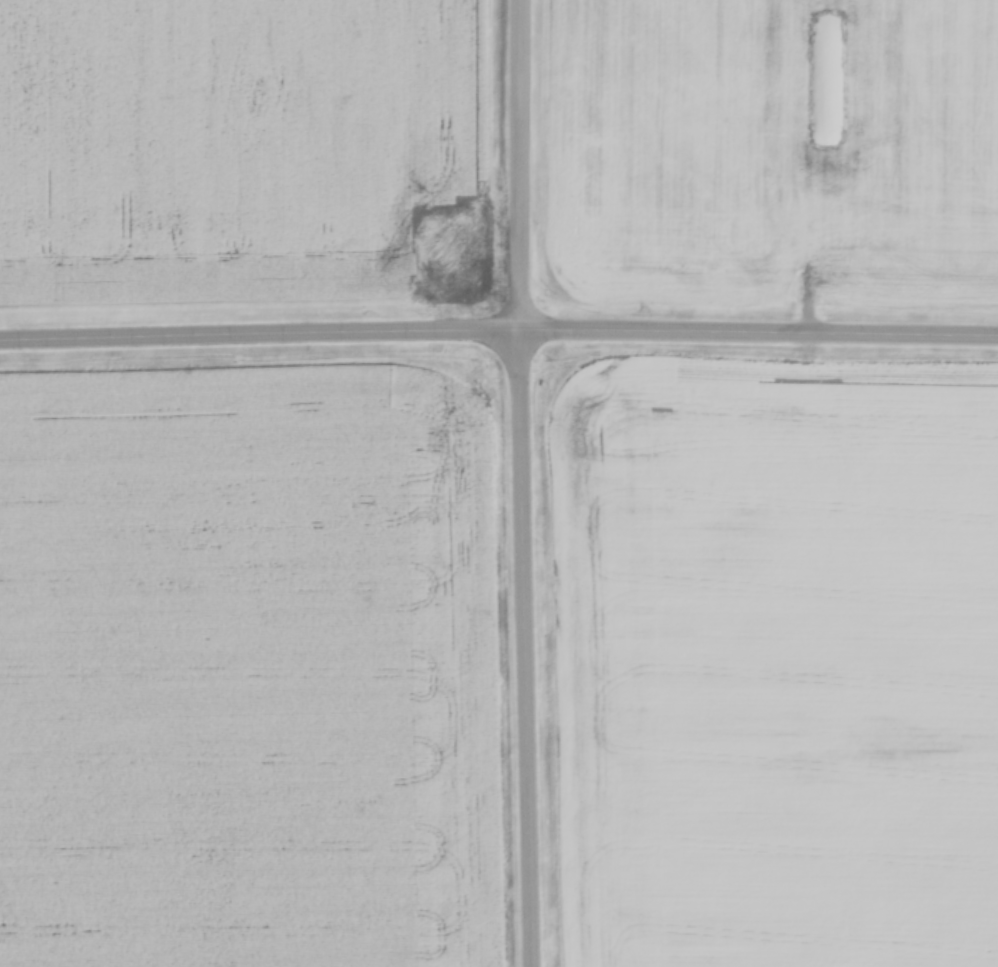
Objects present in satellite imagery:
road: (524, 169)
road: (760, 341)
road: (261, 344)
road: (527, 653)

